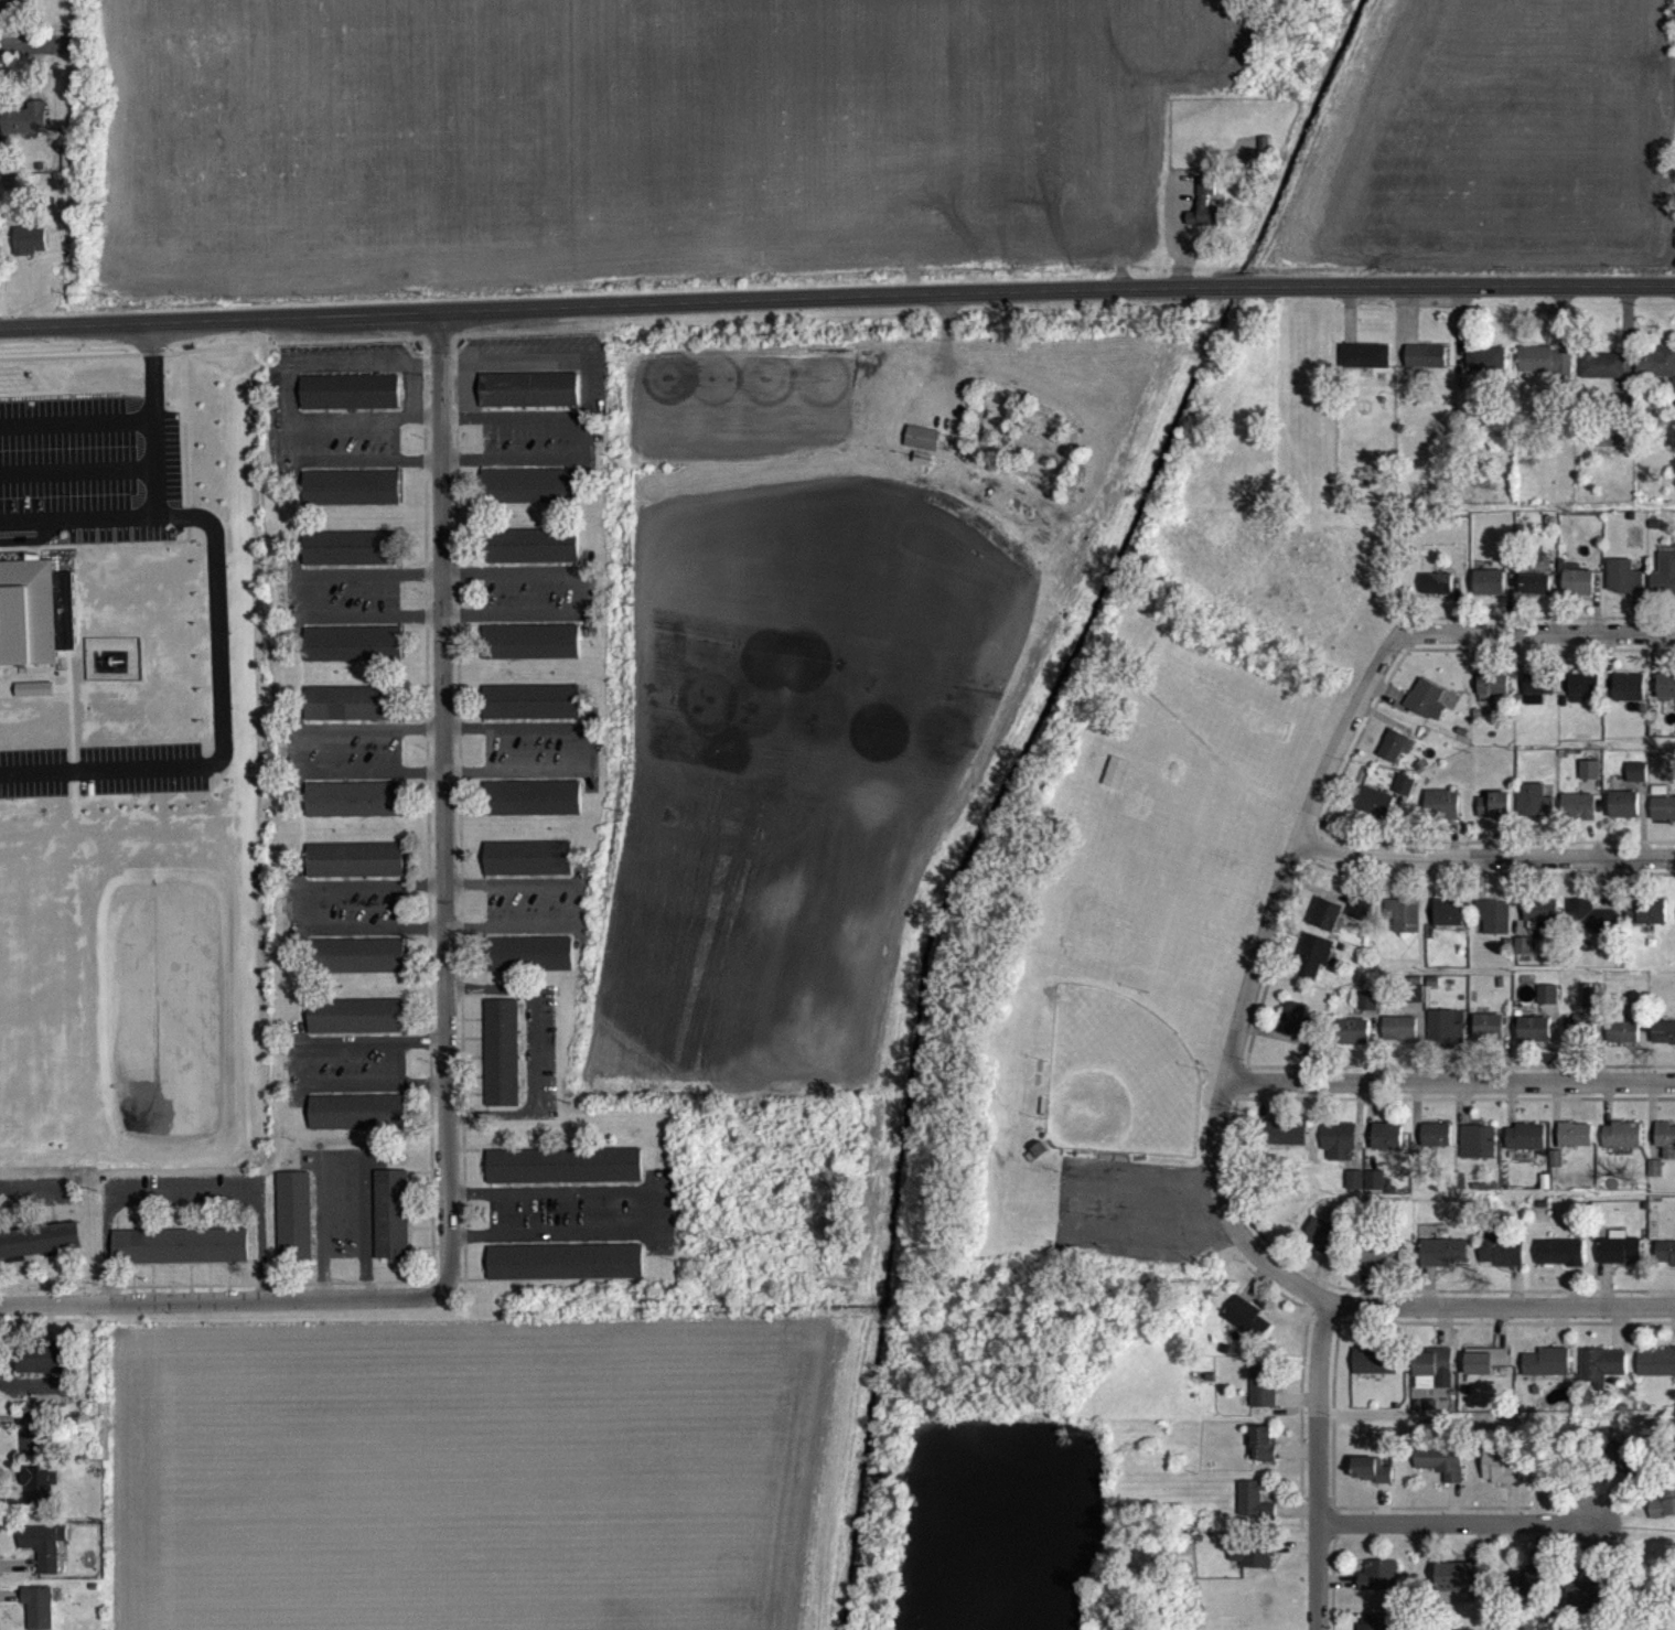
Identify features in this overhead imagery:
road: (21, 52)
building: (25, 129)
building: (1205, 216)
building: (31, 250)
road: (837, 297)
building: (1365, 366)
building: (1426, 367)
road: (151, 369)
building: (1485, 369)
road: (526, 373)
building: (1546, 373)
road: (452, 374)
building: (1657, 374)
road: (348, 375)
road: (425, 375)
building: (1602, 375)
road: (587, 399)
building: (529, 400)
road: (466, 401)
road: (287, 403)
building: (351, 403)
road: (411, 403)
road: (76, 420)
road: (527, 429)
road: (350, 430)
road: (425, 430)
road: (452, 430)
building: (923, 449)
road: (588, 450)
road: (288, 452)
road: (513, 472)
road: (363, 473)
building: (532, 496)
building: (352, 498)
road: (126, 514)
building: (533, 557)
building: (348, 558)
building: (1665, 586)
building: (1624, 587)
building: (1490, 593)
building: (1579, 593)
building: (1437, 594)
building: (1535, 594)
road: (589, 604)
road: (297, 605)
building: (28, 611)
road: (1533, 633)
building: (532, 653)
building: (354, 655)
building: (1583, 697)
building: (1666, 697)
building: (1493, 698)
building: (1538, 698)
building: (1630, 698)
building: (35, 700)
building: (1428, 710)
building: (533, 712)
building: (351, 714)
road: (590, 747)
road: (294, 748)
building: (1396, 757)
building: (1590, 781)
building: (1638, 783)
building: (1405, 795)
road: (439, 803)
building: (534, 808)
building: (355, 809)
building: (1535, 812)
building: (1375, 813)
building: (1442, 815)
building: (1495, 815)
building: (1624, 815)
building: (1579, 817)
building: (1663, 819)
road: (1489, 850)
building: (529, 869)
building: (356, 870)
road: (581, 904)
road: (298, 905)
building: (1360, 920)
building: (1540, 921)
building: (1646, 922)
building: (1449, 923)
building: (1328, 925)
building: (1404, 925)
building: (1494, 927)
building: (1590, 929)
building: (1524, 956)
building: (530, 965)
building: (361, 966)
building: (1313, 966)
road: (1261, 984)
building: (1548, 1006)
building: (1593, 1008)
building: (1368, 1011)
building: (1638, 1018)
building: (357, 1027)
building: (1295, 1031)
building: (1445, 1038)
building: (1489, 1038)
building: (1399, 1039)
building: (1575, 1039)
building: (1535, 1040)
building: (1356, 1042)
building: (1623, 1043)
building: (1663, 1043)
building: (503, 1049)
road: (534, 1049)
road: (297, 1063)
road: (1453, 1077)
building: (359, 1123)
building: (1286, 1144)
building: (1575, 1145)
building: (1436, 1146)
building: (1622, 1146)
building: (1387, 1148)
building: (1526, 1148)
building: (1665, 1150)
building: (1340, 1152)
building: (1478, 1152)
road: (342, 1155)
building: (566, 1177)
building: (1654, 1179)
building: (1354, 1190)
building: (1375, 1191)
road: (180, 1195)
road: (25, 1197)
road: (653, 1209)
building: (393, 1225)
building: (296, 1226)
building: (41, 1238)
building: (181, 1243)
building: (1323, 1246)
building: (566, 1259)
building: (1619, 1259)
building: (1501, 1262)
building: (1442, 1263)
building: (1559, 1263)
building: (1665, 1264)
building: (1382, 1266)
road: (219, 1299)
road: (1502, 1306)
building: (1247, 1329)
building: (46, 1371)
building: (1486, 1372)
building: (1375, 1373)
building: (1434, 1373)
building: (1547, 1373)
building: (1655, 1373)
building: (1601, 1376)
building: (1264, 1396)
building: (34, 1445)
building: (1264, 1455)
road: (1323, 1467)
building: (1623, 1467)
building: (1441, 1472)
building: (1499, 1479)
building: (1372, 1481)
building: (39, 1498)
building: (1254, 1512)
building: (1662, 1515)
road: (1460, 1521)
building: (44, 1556)
building: (1253, 1566)
building: (1379, 1586)
building: (1460, 1590)
building: (1529, 1593)
building: (1583, 1611)
building: (39, 1612)
building: (1376, 1627)

